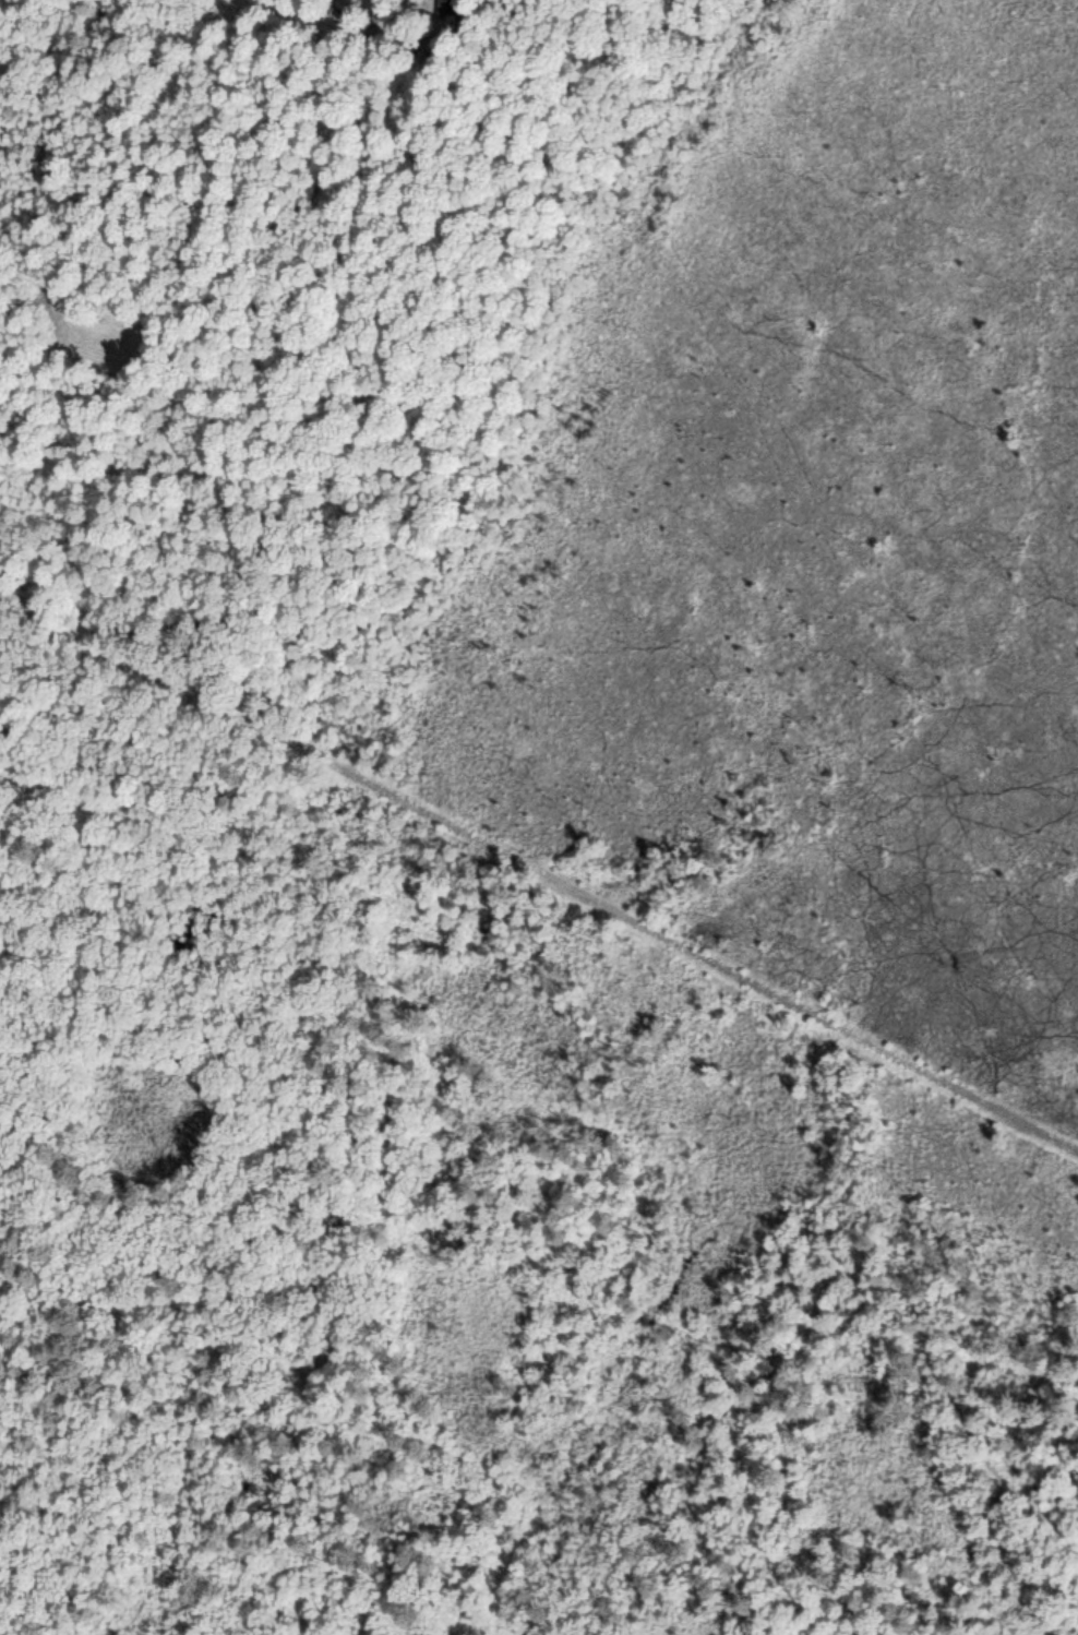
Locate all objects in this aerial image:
railway: (539, 868)

